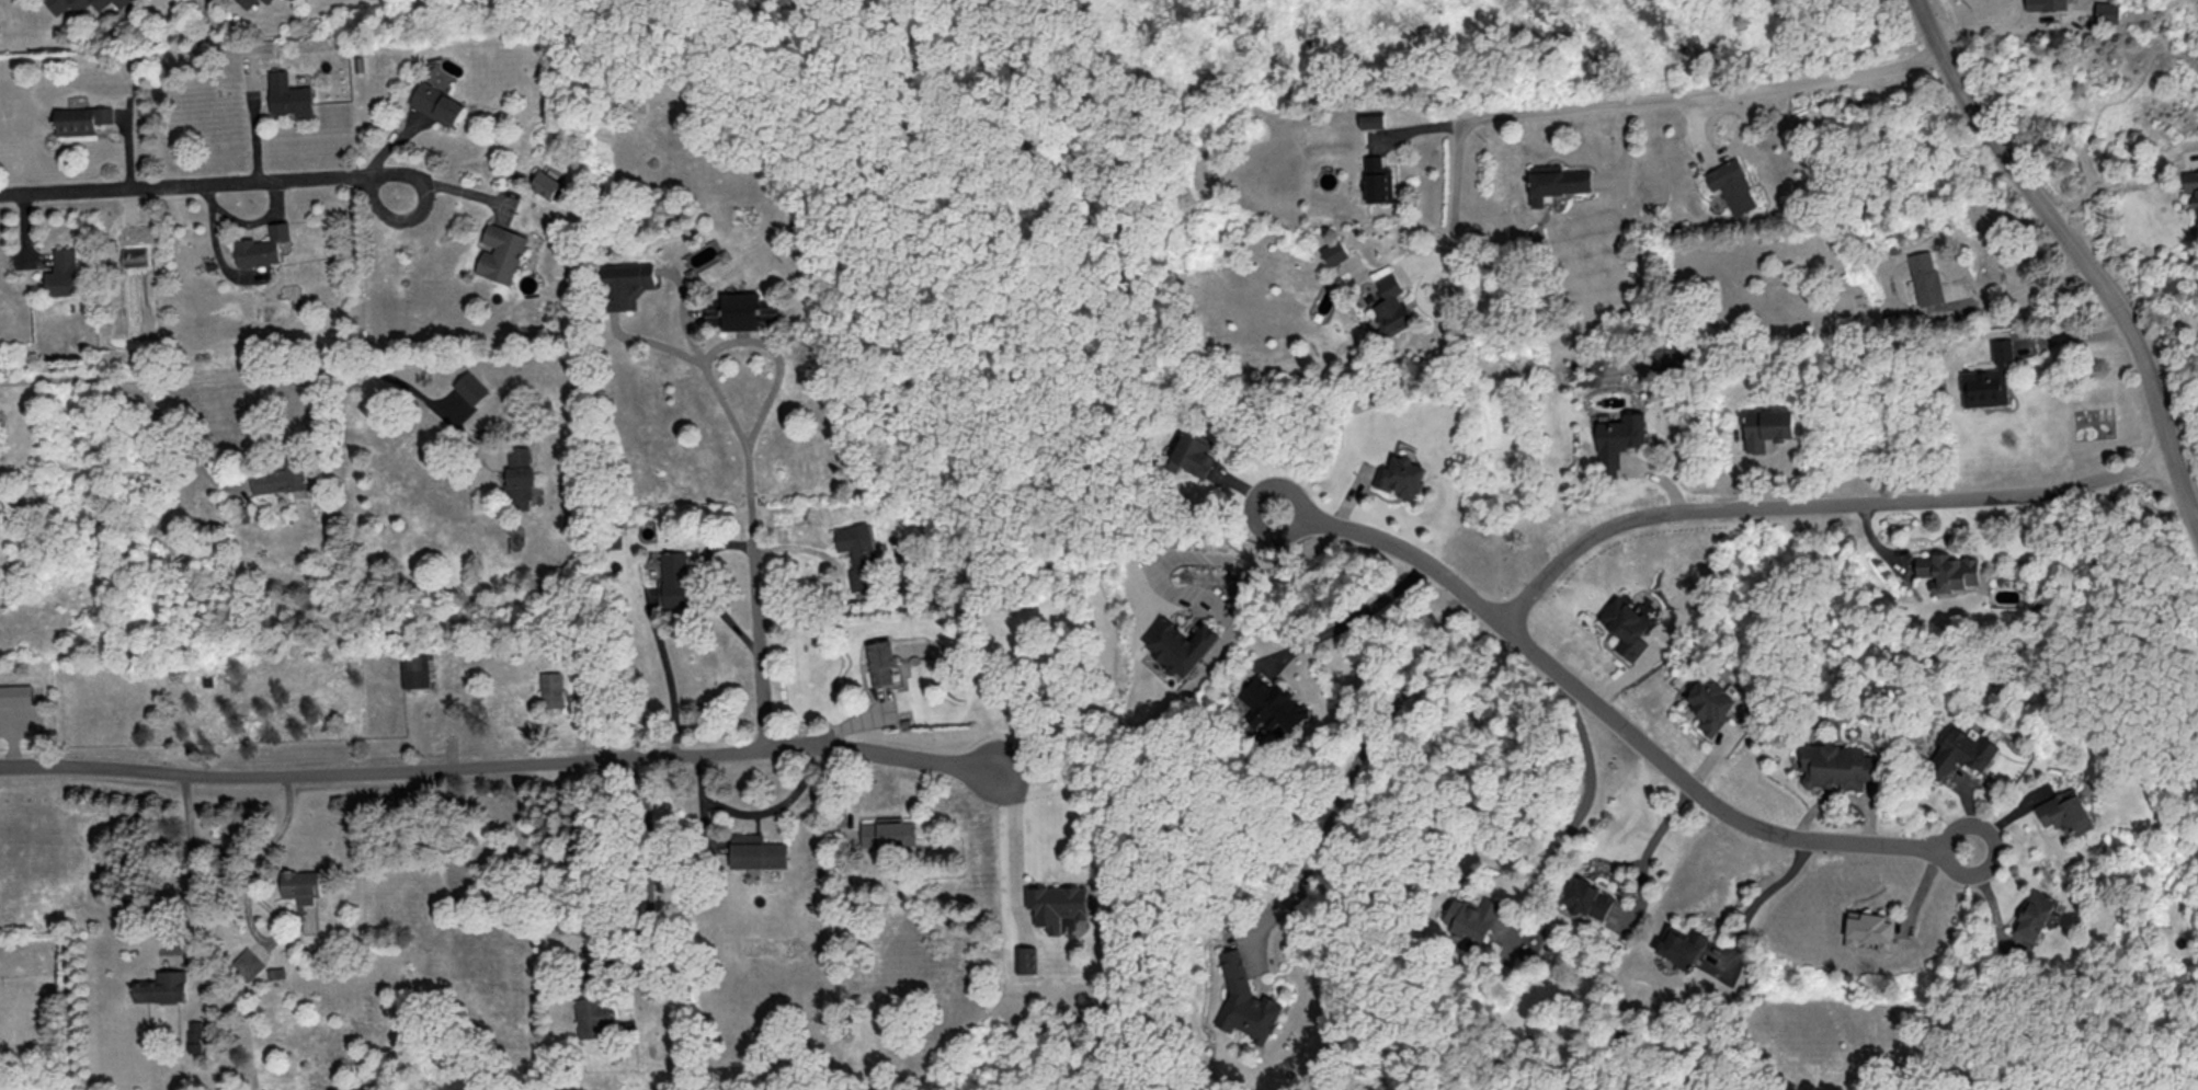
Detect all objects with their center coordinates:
building: (266, 0)
building: (118, 1)
building: (246, 2)
building: (75, 3)
building: (2107, 10)
road: (1983, 25)
road: (1842, 74)
building: (288, 94)
building: (436, 103)
road: (1542, 115)
building: (81, 118)
building: (1371, 119)
building: (1377, 180)
road: (439, 181)
building: (1556, 181)
building: (545, 183)
building: (2191, 184)
building: (1732, 185)
road: (191, 187)
road: (2105, 188)
building: (263, 245)
building: (1334, 251)
building: (500, 252)
building: (134, 254)
road: (2081, 259)
building: (62, 272)
building: (1925, 276)
building: (626, 284)
road: (2027, 288)
building: (1391, 306)
building: (740, 311)
road: (1438, 314)
road: (710, 349)
road: (200, 372)
building: (1989, 378)
building: (470, 387)
road: (446, 418)
building: (1767, 426)
road: (180, 435)
building: (1619, 439)
building: (1194, 452)
building: (281, 477)
building: (517, 477)
building: (1403, 477)
road: (1819, 504)
road: (2193, 506)
building: (858, 553)
road: (1214, 558)
building: (1948, 570)
road: (843, 576)
building: (676, 578)
road: (704, 586)
road: (1352, 620)
building: (1629, 624)
road: (759, 626)
building: (1180, 645)
building: (882, 662)
building: (413, 669)
building: (550, 688)
building: (15, 693)
building: (1712, 702)
building: (1273, 703)
road: (1608, 718)
road: (1366, 746)
building: (1964, 750)
road: (498, 765)
building: (1837, 766)
road: (1584, 807)
road: (755, 811)
building: (2066, 811)
building: (890, 831)
road: (1648, 840)
road: (1016, 842)
building: (756, 850)
road: (192, 860)
building: (303, 884)
road: (247, 892)
building: (1587, 897)
road: (1756, 897)
building: (1058, 904)
road: (650, 914)
building: (2034, 915)
building: (1473, 916)
building: (1869, 928)
building: (1682, 945)
building: (1026, 959)
building: (248, 963)
building: (162, 986)
building: (1246, 1000)
building: (595, 1016)
building: (195, 1035)

